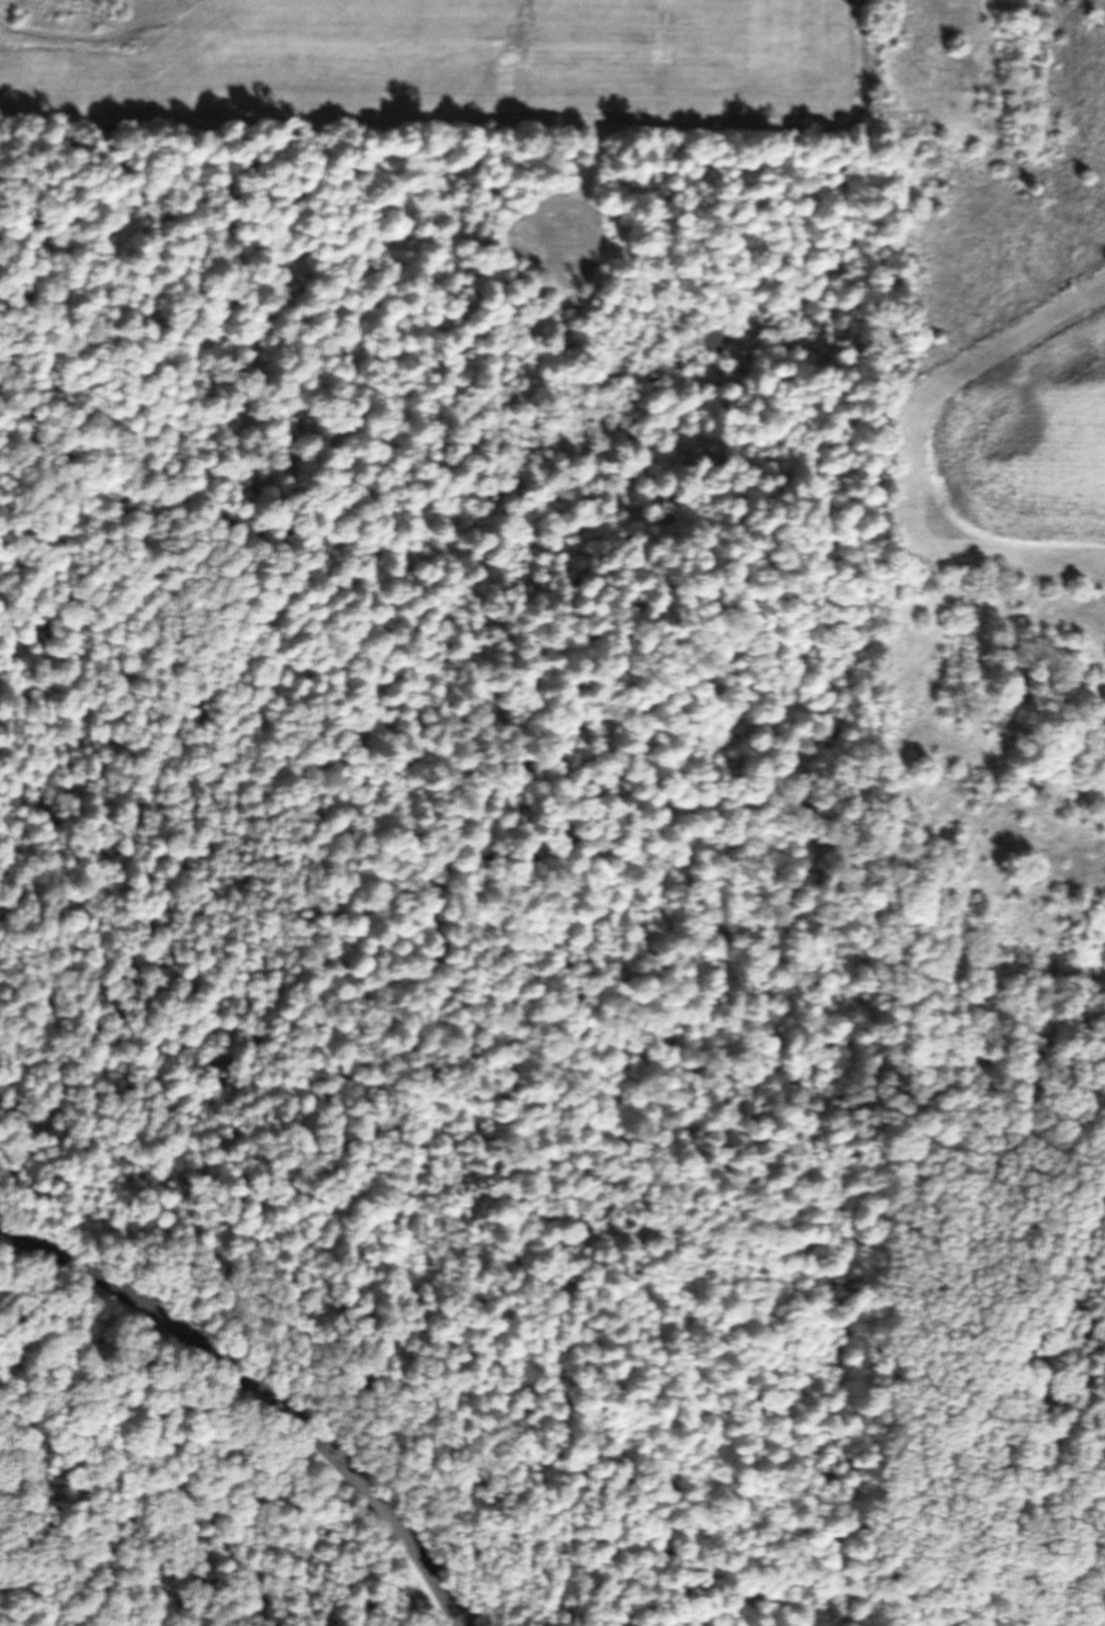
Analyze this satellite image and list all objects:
road: (262, 1389)

